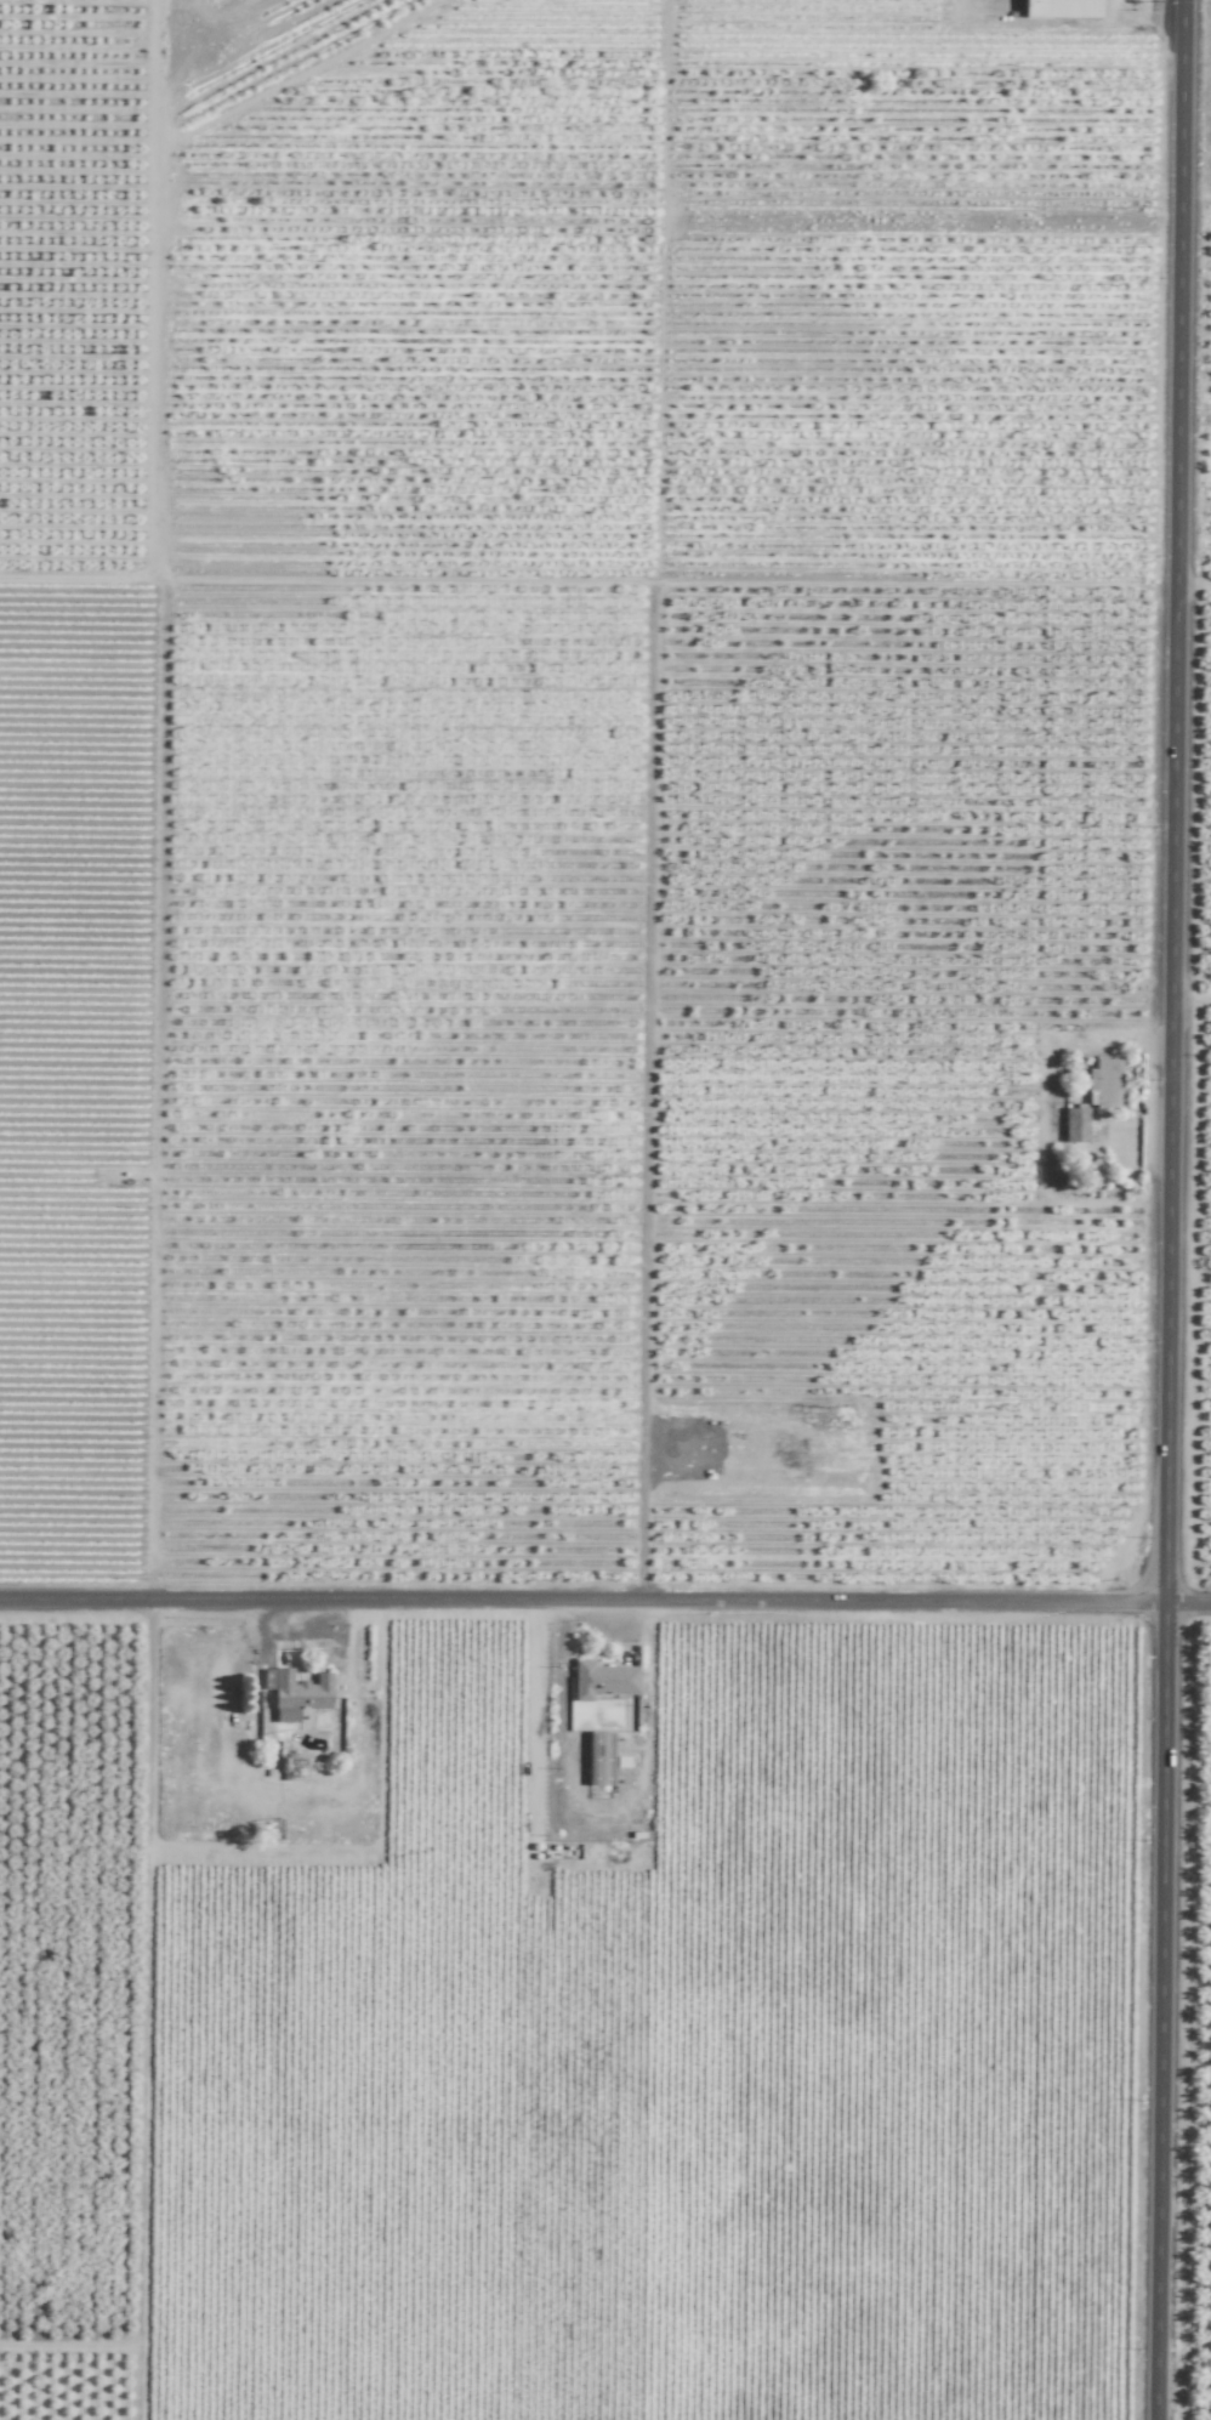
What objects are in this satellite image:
building: (1061, 8)
road: (605, 586)
road: (1189, 981)
building: (1105, 1079)
road: (1165, 1209)
crop: (605, 1210)
road: (1080, 1539)
road: (605, 1603)
building: (607, 1675)
building: (299, 1694)
building: (598, 1757)

